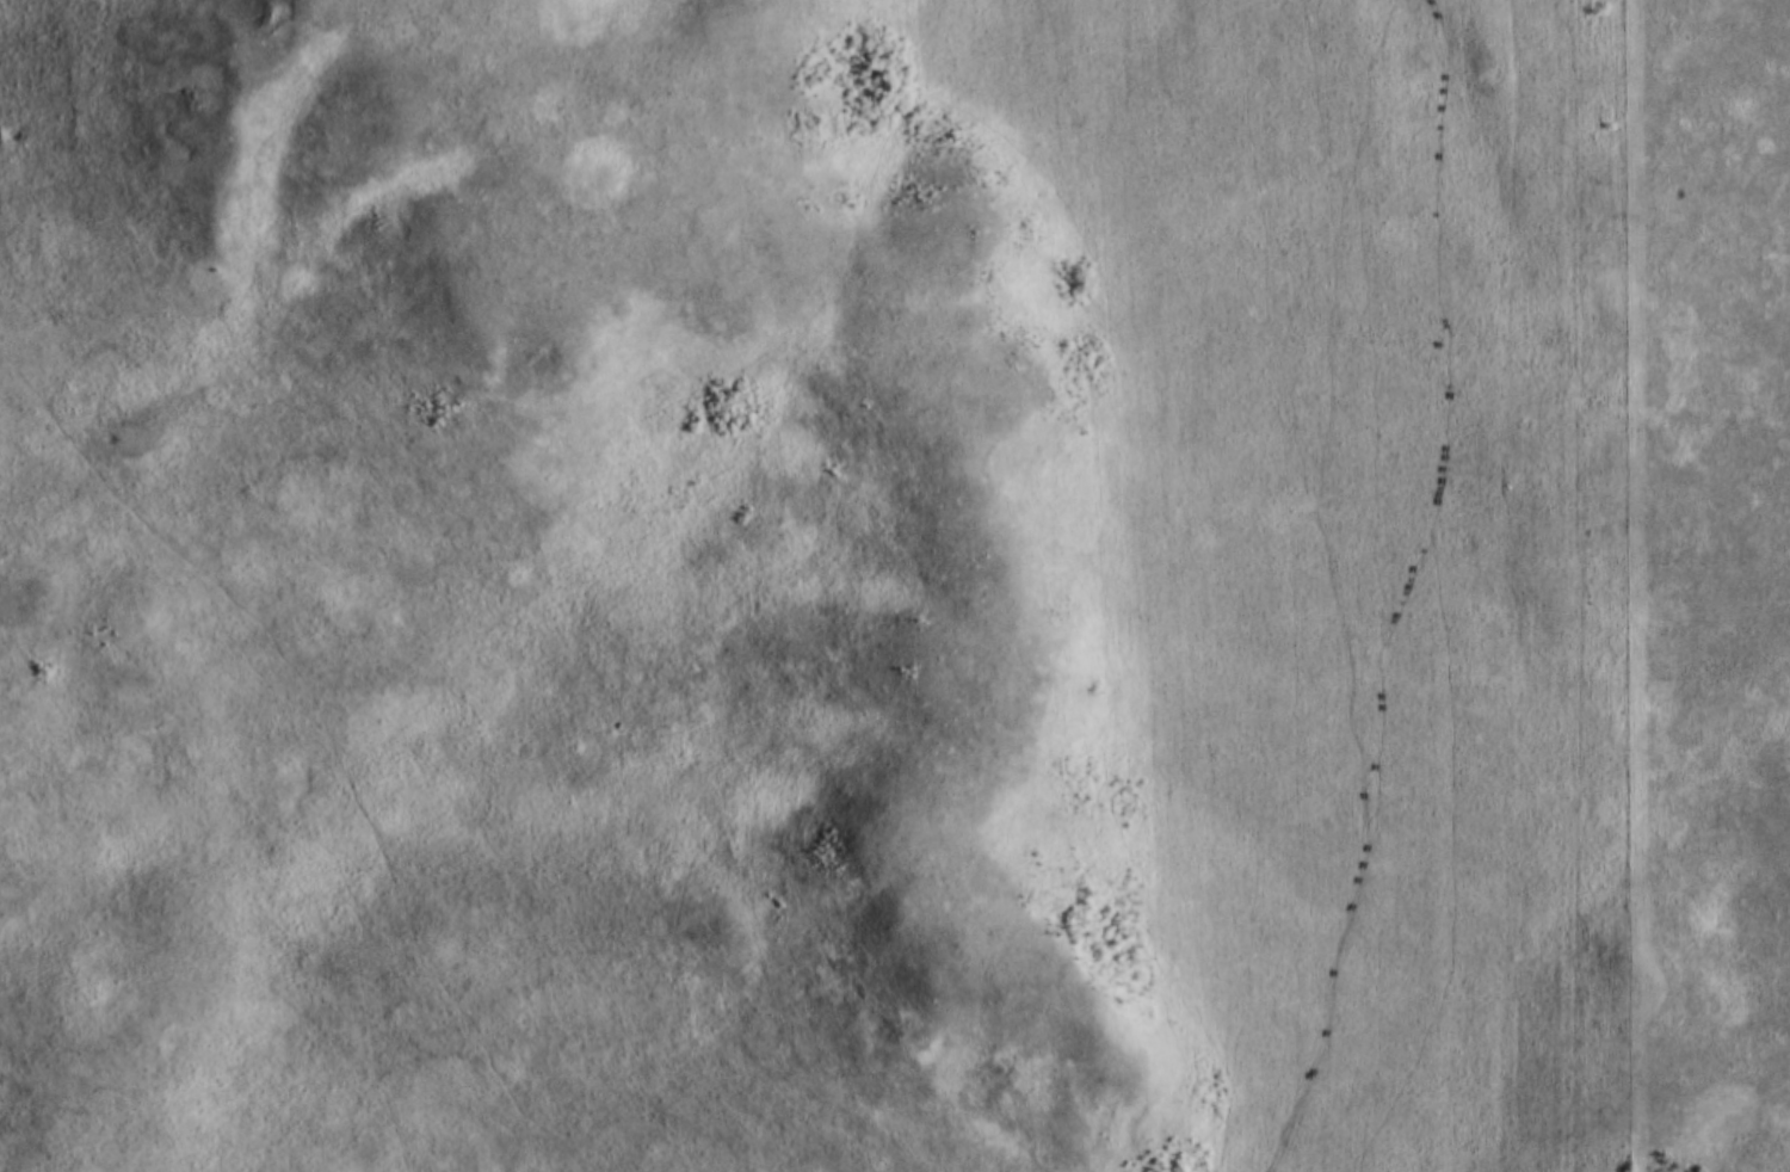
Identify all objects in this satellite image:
road: (1637, 586)

